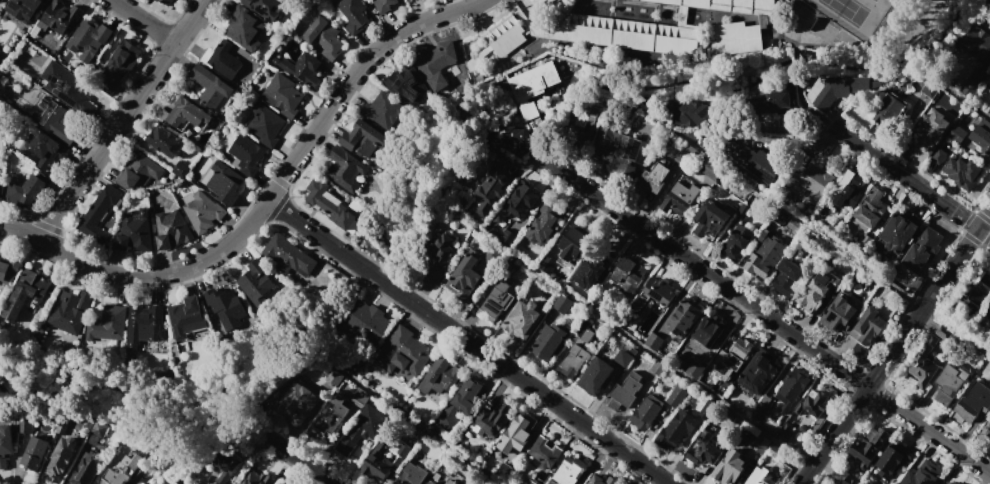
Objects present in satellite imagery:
building: (1, 1)
building: (167, 1)
building: (543, 4)
building: (384, 5)
building: (727, 5)
building: (265, 7)
building: (24, 9)
park: (855, 14)
building: (61, 15)
building: (352, 15)
road: (142, 22)
building: (243, 27)
park: (844, 28)
building: (632, 33)
building: (505, 36)
building: (324, 37)
building: (734, 37)
building: (89, 38)
building: (975, 40)
road: (835, 41)
building: (222, 59)
building: (436, 63)
building: (119, 64)
building: (303, 68)
building: (989, 75)
building: (405, 82)
road: (800, 83)
building: (875, 83)
building: (65, 85)
building: (532, 85)
building: (211, 88)
building: (930, 88)
building: (968, 88)
building: (836, 89)
building: (283, 95)
building: (773, 101)
road: (967, 102)
building: (889, 108)
building: (383, 109)
building: (187, 114)
building: (689, 115)
building: (58, 119)
road: (122, 120)
building: (580, 123)
building: (263, 124)
building: (931, 131)
building: (979, 132)
building: (956, 134)
building: (363, 138)
building: (511, 138)
building: (165, 141)
building: (45, 147)
building: (620, 152)
building: (246, 153)
building: (938, 155)
building: (683, 158)
building: (757, 162)
building: (345, 168)
building: (180, 169)
building: (710, 169)
building: (139, 170)
building: (962, 172)
building: (0, 177)
building: (652, 180)
building: (809, 180)
road: (912, 181)
building: (224, 182)
road: (278, 184)
building: (493, 186)
building: (848, 188)
building: (27, 191)
building: (724, 195)
building: (678, 199)
building: (520, 200)
building: (329, 205)
building: (871, 208)
building: (742, 211)
building: (202, 212)
building: (98, 213)
building: (710, 219)
road: (984, 220)
building: (542, 228)
building: (171, 229)
building: (898, 230)
building: (134, 231)
road: (310, 231)
road: (19, 232)
building: (507, 235)
road: (826, 240)
building: (735, 242)
building: (573, 243)
building: (922, 249)
building: (287, 255)
building: (763, 255)
building: (439, 256)
building: (546, 265)
building: (592, 268)
building: (9, 269)
road: (367, 271)
building: (466, 273)
building: (628, 275)
building: (787, 277)
building: (257, 283)
building: (869, 284)
building: (817, 290)
building: (976, 290)
building: (24, 292)
building: (655, 293)
building: (495, 301)
building: (561, 304)
building: (989, 304)
building: (223, 305)
building: (70, 311)
building: (837, 313)
road: (766, 316)
building: (683, 317)
building: (185, 318)
building: (143, 319)
building: (521, 320)
building: (365, 322)
building: (107, 324)
building: (869, 324)
building: (707, 330)
building: (653, 340)
building: (548, 341)
road: (646, 351)
building: (403, 352)
road: (888, 355)
building: (622, 358)
building: (732, 358)
building: (573, 360)
building: (923, 363)
building: (657, 368)
building: (694, 369)
building: (759, 373)
building: (440, 375)
building: (595, 376)
building: (333, 377)
road: (524, 382)
building: (947, 384)
building: (791, 389)
building: (624, 391)
building: (676, 396)
building: (360, 397)
building: (296, 402)
building: (971, 403)
building: (459, 404)
building: (813, 404)
building: (646, 412)
building: (757, 413)
building: (330, 416)
building: (490, 420)
building: (24, 425)
building: (63, 425)
building: (363, 427)
road: (422, 429)
building: (675, 429)
building: (988, 430)
building: (97, 431)
building: (785, 432)
building: (517, 433)
building: (5, 444)
building: (760, 444)
building: (706, 446)
building: (867, 447)
building: (774, 452)
building: (33, 453)
building: (544, 453)
building: (892, 458)
building: (61, 459)
building: (384, 459)
road: (300, 460)
building: (225, 466)
building: (86, 468)
building: (729, 468)
building: (123, 469)
building: (570, 470)
building: (923, 474)
building: (411, 475)
building: (759, 477)
building: (256, 478)
building: (452, 478)
building: (601, 480)
building: (527, 481)
building: (166, 482)
building: (431, 482)
building: (216, 483)
building: (277, 483)
building: (620, 483)
building: (949, 483)

